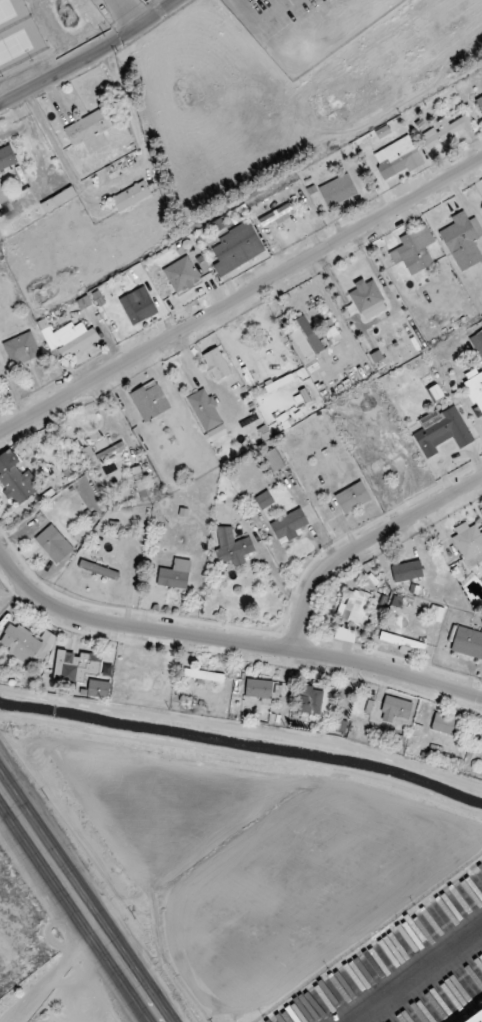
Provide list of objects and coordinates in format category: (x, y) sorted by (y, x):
park: (16, 32)
road: (92, 57)
building: (479, 103)
building: (91, 127)
building: (446, 130)
building: (398, 157)
building: (7, 158)
building: (337, 190)
building: (2, 196)
building: (131, 196)
building: (275, 214)
building: (463, 240)
building: (236, 248)
building: (414, 250)
building: (203, 268)
building: (181, 275)
road: (241, 298)
building: (367, 299)
building: (138, 306)
building: (68, 339)
building: (305, 339)
building: (477, 343)
building: (22, 349)
building: (216, 364)
building: (474, 389)
building: (149, 401)
building: (207, 415)
building: (442, 431)
building: (102, 453)
building: (274, 459)
building: (16, 479)
building: (140, 482)
building: (352, 497)
building: (264, 500)
building: (289, 526)
building: (54, 543)
road: (365, 544)
building: (469, 545)
building: (232, 547)
building: (98, 570)
building: (407, 571)
building: (175, 575)
building: (355, 608)
building: (436, 613)
road: (230, 641)
building: (466, 641)
building: (403, 644)
building: (27, 645)
building: (76, 665)
building: (204, 675)
building: (98, 689)
building: (259, 690)
building: (310, 700)
building: (395, 709)
building: (442, 723)
road: (79, 903)
road: (56, 974)
building: (476, 1017)

